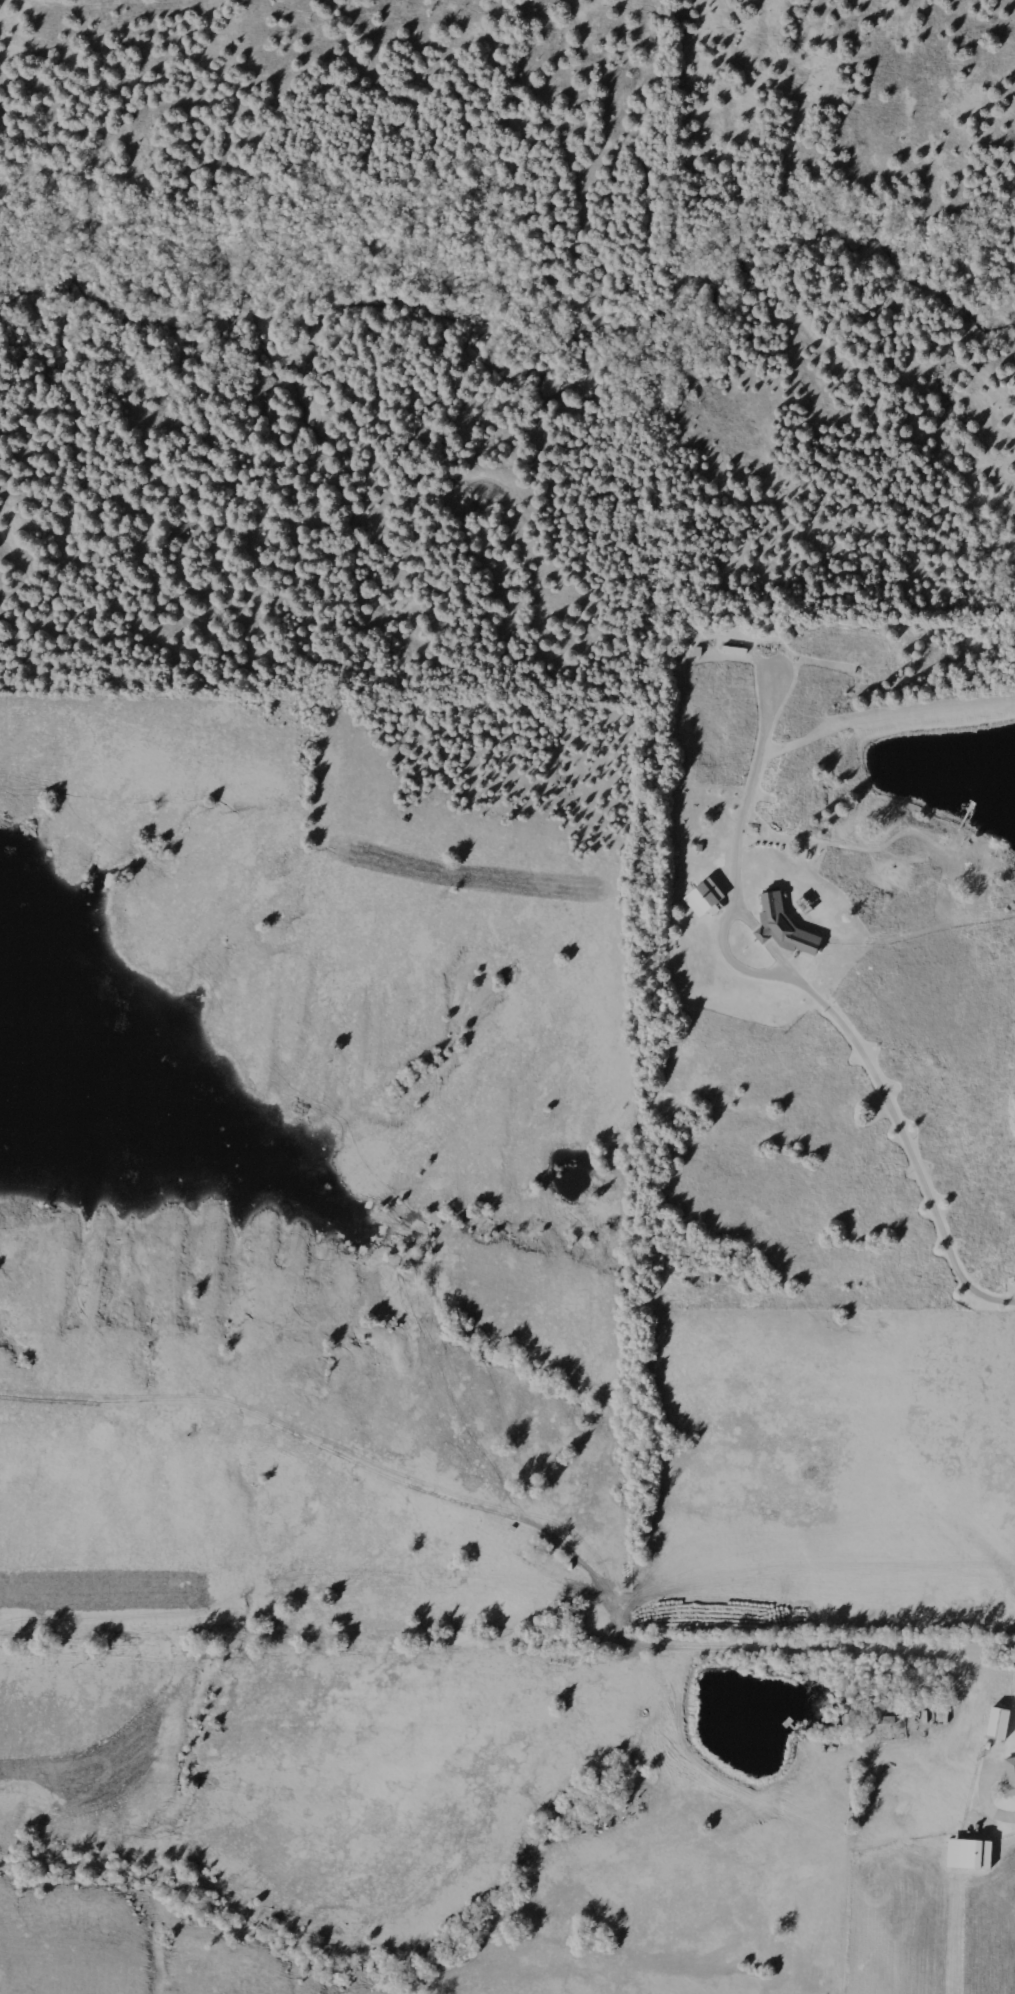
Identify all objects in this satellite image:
building: (704, 898)
building: (784, 927)
building: (998, 1724)
building: (1010, 1778)
building: (969, 1855)

